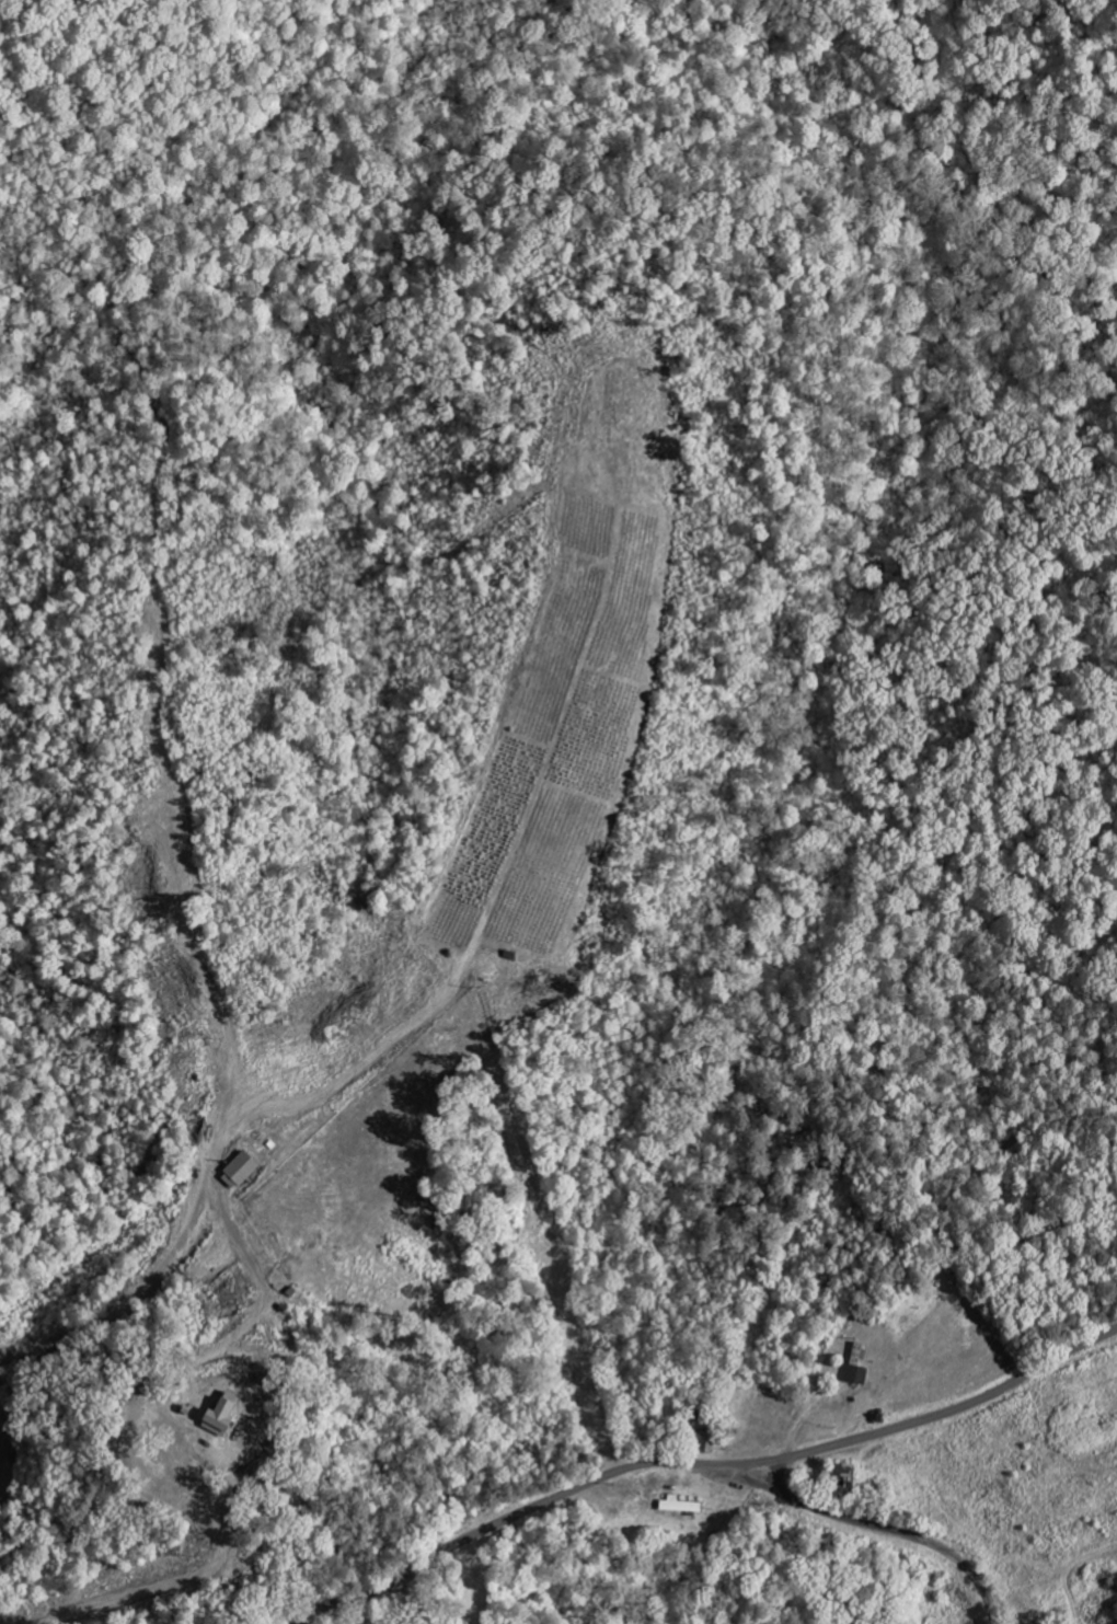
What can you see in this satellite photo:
building: (244, 1171)
road: (198, 1279)
building: (859, 1367)
building: (226, 1415)
building: (706, 1443)
road: (15, 1455)
road: (703, 1467)
road: (781, 1475)
building: (680, 1506)
road: (872, 1522)

